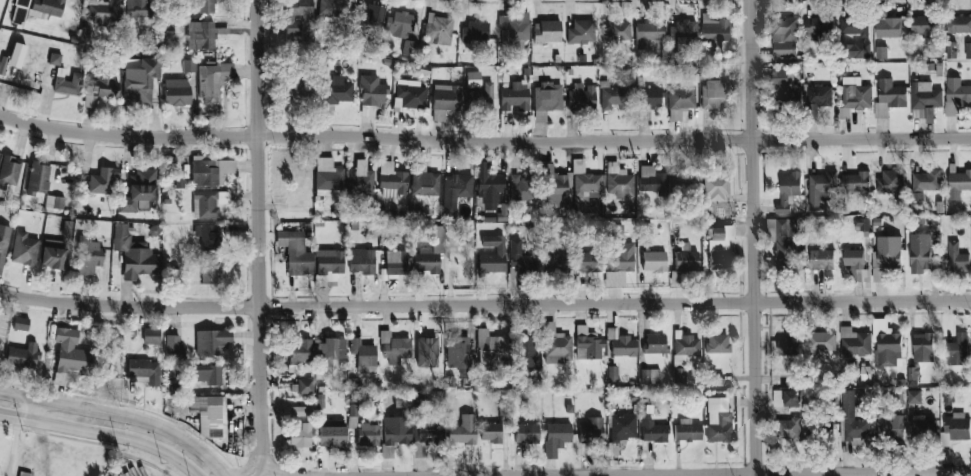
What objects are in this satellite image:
building: (48, 6)
building: (207, 6)
building: (138, 8)
building: (332, 10)
building: (103, 11)
building: (23, 12)
building: (296, 15)
building: (366, 15)
building: (399, 24)
building: (886, 24)
building: (960, 24)
building: (854, 26)
building: (923, 26)
building: (818, 27)
building: (438, 30)
building: (616, 30)
building: (713, 30)
building: (475, 31)
building: (514, 31)
building: (547, 32)
building: (581, 32)
building: (205, 33)
building: (648, 33)
building: (683, 34)
building: (784, 36)
building: (409, 48)
building: (950, 49)
building: (859, 50)
building: (968, 50)
building: (880, 53)
building: (54, 59)
building: (189, 66)
building: (473, 79)
building: (212, 81)
building: (141, 82)
building: (68, 84)
building: (784, 87)
building: (99, 88)
building: (295, 88)
building: (337, 90)
building: (372, 91)
building: (176, 92)
building: (714, 93)
building: (855, 93)
building: (891, 93)
building: (411, 94)
building: (920, 94)
building: (515, 96)
building: (613, 96)
building: (819, 96)
building: (956, 96)
building: (479, 97)
building: (547, 97)
building: (581, 97)
building: (647, 97)
building: (681, 98)
building: (444, 100)
road: (484, 140)
building: (210, 170)
building: (9, 173)
building: (328, 177)
building: (38, 178)
building: (392, 178)
building: (360, 179)
building: (684, 179)
building: (584, 180)
building: (652, 180)
building: (103, 181)
building: (927, 181)
building: (619, 182)
building: (855, 182)
building: (425, 183)
building: (891, 183)
building: (958, 184)
building: (716, 185)
building: (487, 187)
building: (554, 187)
building: (522, 188)
building: (822, 189)
building: (139, 190)
building: (455, 191)
building: (788, 191)
building: (54, 203)
building: (208, 203)
building: (860, 224)
road: (261, 234)
building: (207, 236)
road: (757, 237)
building: (3, 243)
building: (786, 243)
building: (24, 249)
building: (717, 250)
building: (294, 252)
building: (920, 252)
building: (431, 253)
building: (887, 253)
building: (53, 254)
building: (134, 254)
building: (87, 255)
building: (492, 255)
building: (956, 257)
building: (519, 258)
building: (685, 258)
building: (550, 259)
building: (822, 259)
building: (653, 260)
building: (329, 261)
building: (361, 261)
building: (589, 261)
building: (395, 263)
building: (855, 263)
building: (620, 264)
building: (209, 271)
road: (484, 305)
building: (20, 323)
building: (151, 336)
building: (212, 341)
building: (822, 341)
building: (854, 342)
building: (717, 343)
building: (587, 344)
building: (621, 344)
building: (655, 344)
building: (886, 344)
building: (556, 345)
building: (789, 345)
building: (923, 347)
building: (173, 348)
building: (331, 348)
building: (395, 348)
building: (427, 349)
building: (491, 350)
building: (957, 350)
building: (301, 351)
building: (525, 352)
building: (458, 353)
building: (22, 355)
building: (71, 355)
building: (683, 355)
building: (364, 356)
building: (145, 370)
building: (612, 373)
building: (865, 373)
building: (204, 374)
building: (650, 376)
building: (912, 376)
building: (304, 386)
building: (913, 396)
building: (787, 397)
road: (33, 409)
building: (298, 411)
road: (120, 415)
building: (209, 415)
building: (352, 417)
building: (718, 419)
building: (853, 420)
building: (888, 422)
building: (918, 425)
building: (788, 428)
building: (956, 428)
building: (396, 430)
building: (462, 430)
building: (591, 430)
building: (687, 430)
building: (620, 431)
building: (653, 431)
building: (332, 432)
building: (491, 432)
building: (525, 433)
road: (103, 434)
building: (299, 434)
building: (367, 434)
building: (426, 435)
building: (556, 437)
road: (247, 468)
road: (260, 472)
road: (278, 473)
road: (714, 474)

